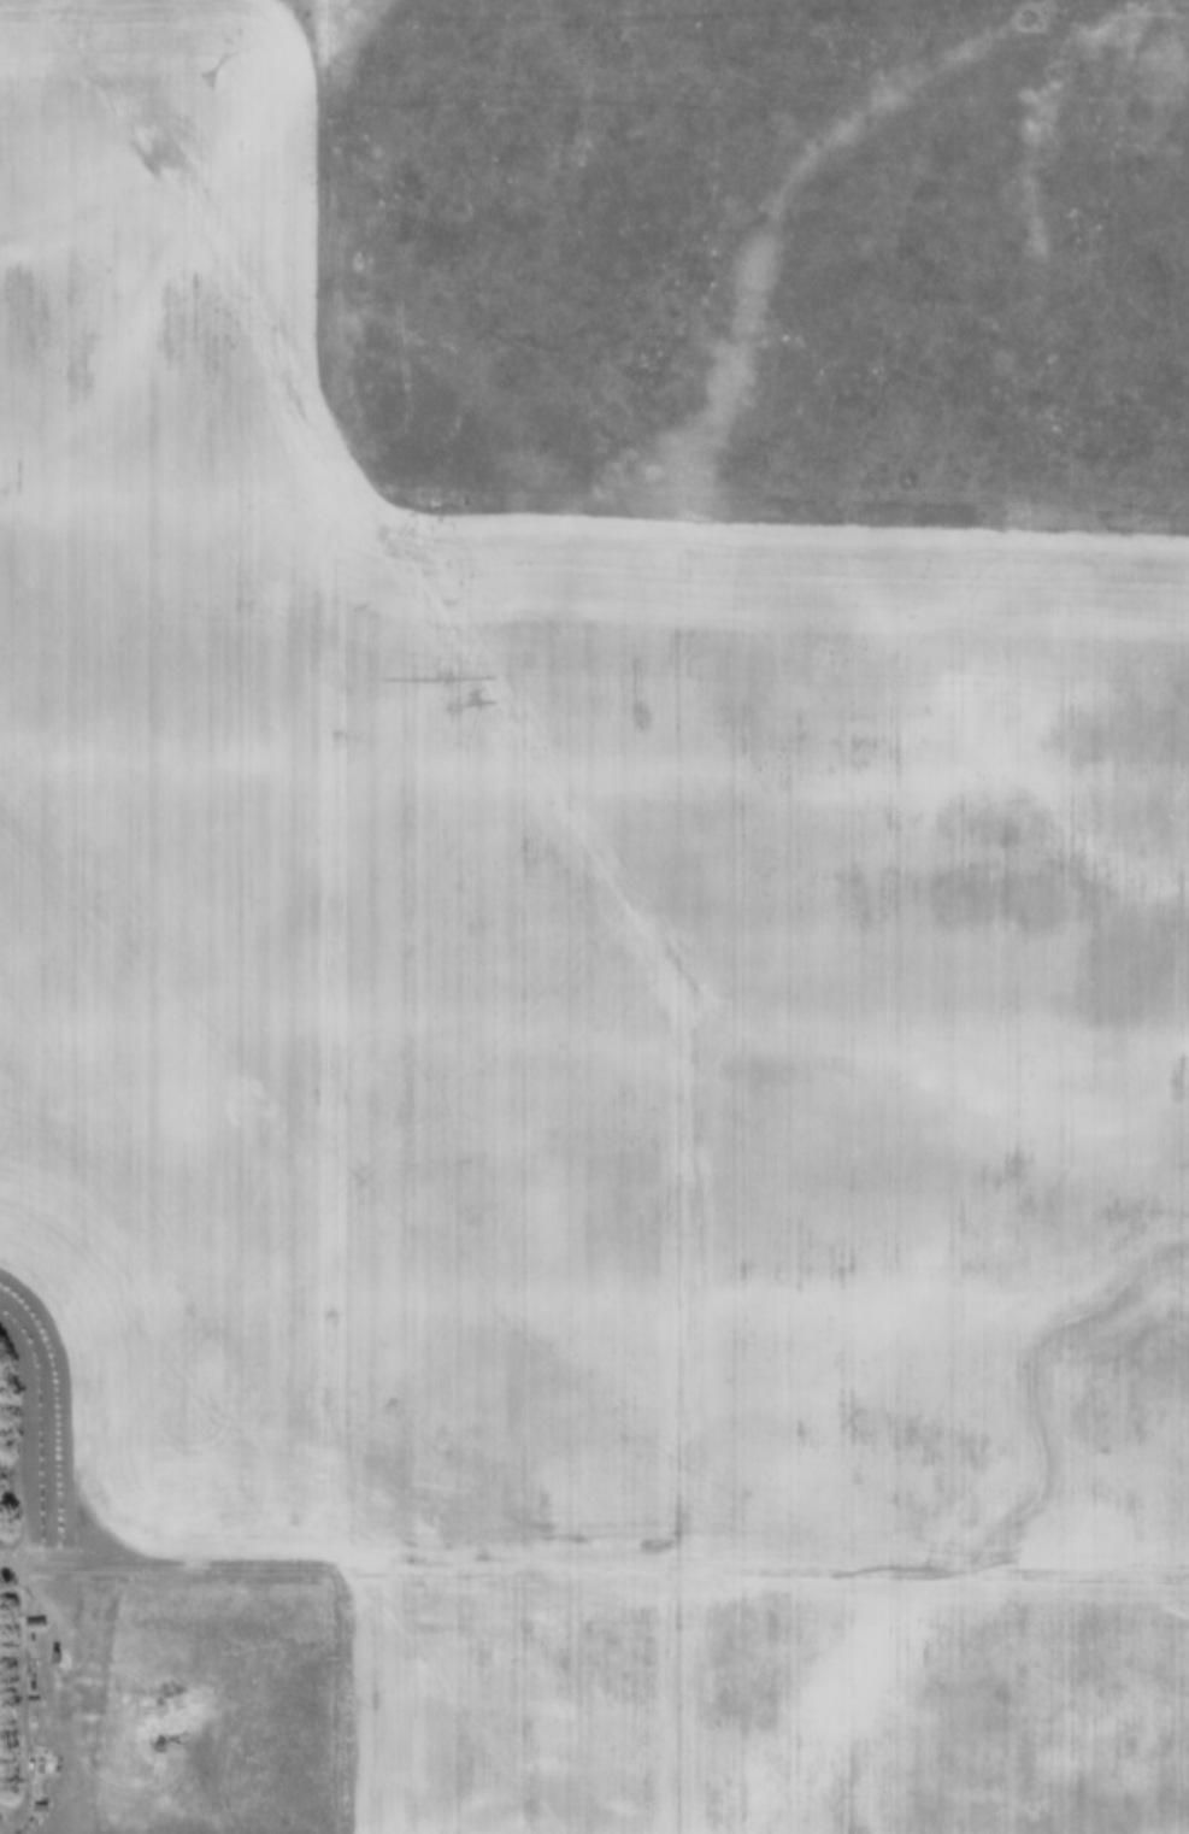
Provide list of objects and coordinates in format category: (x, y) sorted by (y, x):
road: (594, 1574)

